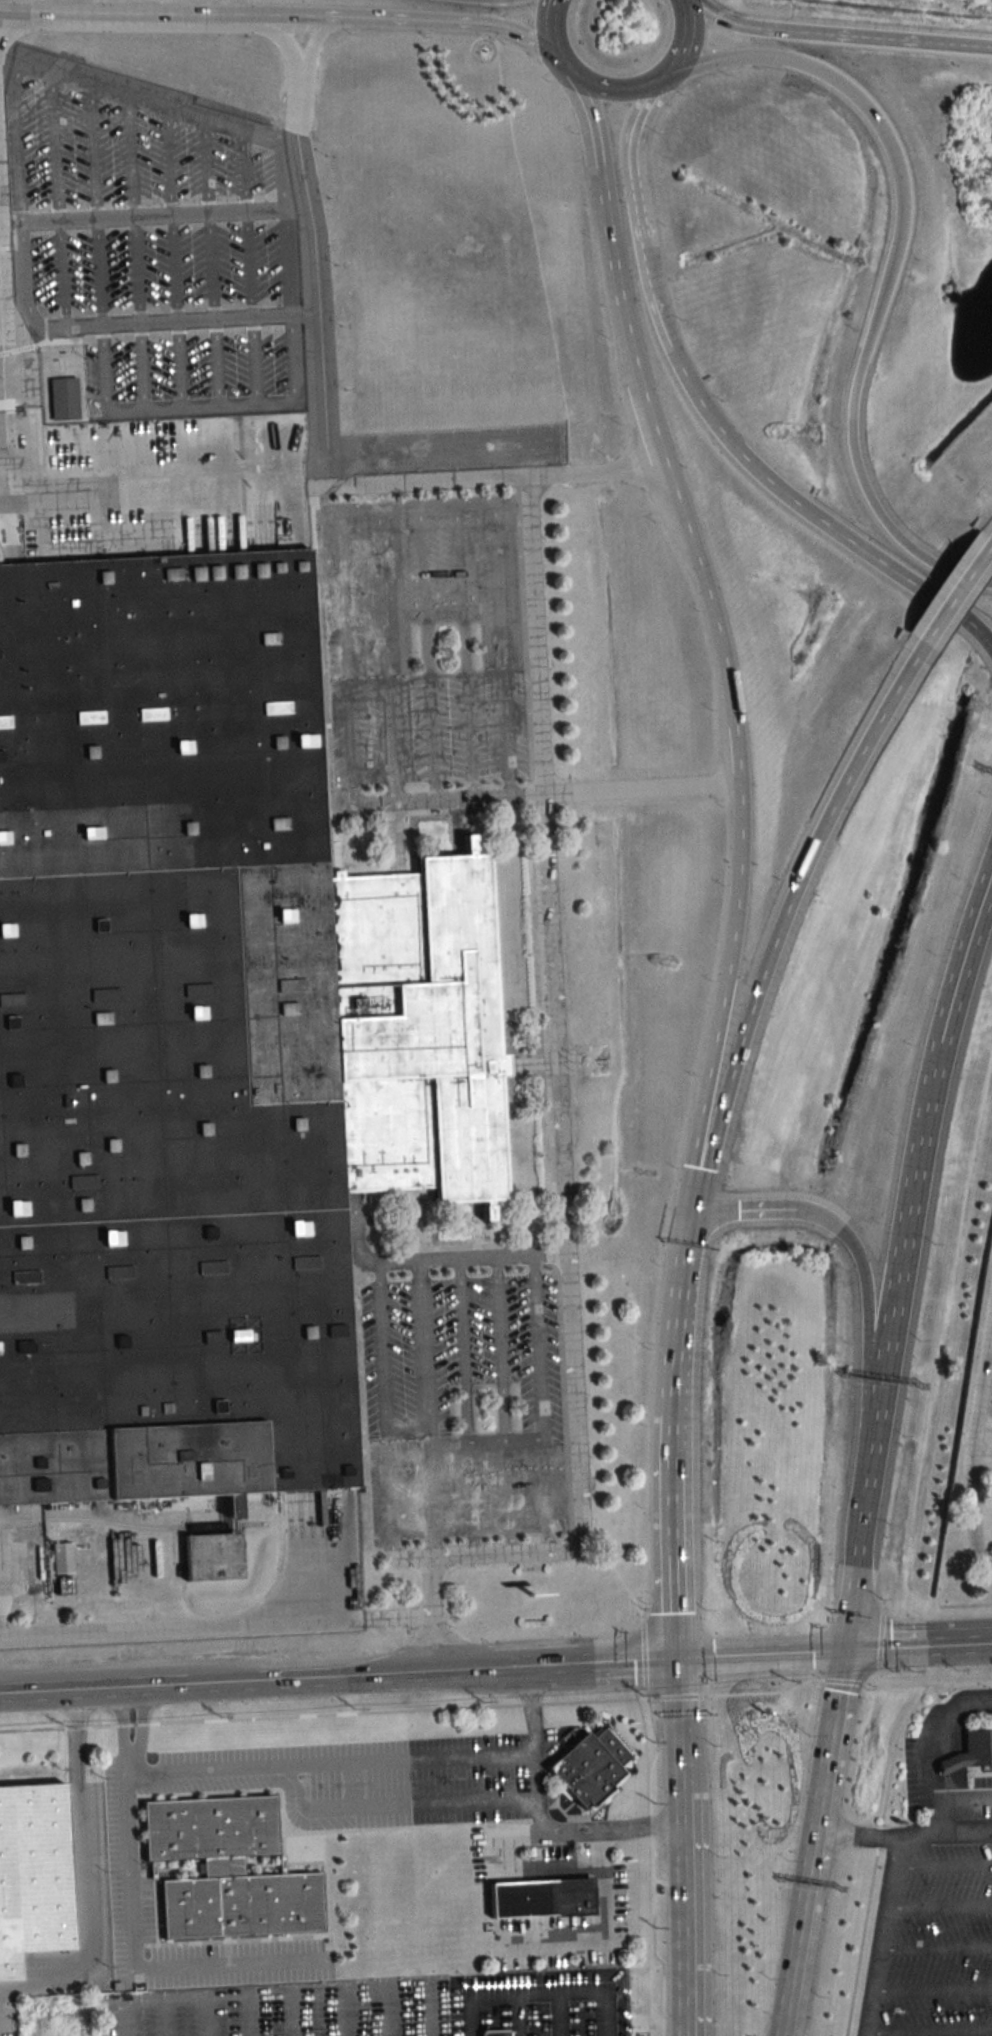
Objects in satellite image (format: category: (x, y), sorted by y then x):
road: (500, 14)
road: (284, 16)
road: (839, 32)
road: (555, 39)
road: (679, 43)
road: (720, 56)
road: (612, 87)
road: (631, 160)
road: (608, 227)
road: (306, 253)
road: (658, 311)
road: (873, 322)
building: (64, 399)
road: (647, 426)
road: (481, 479)
road: (1, 483)
road: (152, 500)
road: (368, 506)
road: (827, 522)
road: (990, 536)
road: (948, 594)
road: (705, 595)
road: (388, 653)
road: (346, 656)
road: (737, 757)
road: (447, 798)
road: (776, 926)
road: (721, 1004)
building: (203, 1034)
road: (929, 1104)
road: (556, 1143)
road: (767, 1207)
traffic signals: (693, 1220)
road: (689, 1238)
road: (510, 1255)
road: (868, 1278)
road: (537, 1346)
road: (499, 1347)
road: (463, 1349)
road: (988, 1354)
road: (674, 1357)
road: (523, 1438)
road: (484, 1439)
road: (971, 1443)
road: (873, 1449)
road: (981, 1453)
road: (670, 1484)
railway: (130, 1526)
road: (988, 1572)
road: (672, 1581)
road: (882, 1605)
road: (848, 1606)
road: (642, 1615)
road: (214, 1628)
road: (879, 1638)
road: (917, 1644)
traffic signals: (842, 1647)
road: (758, 1651)
road: (642, 1654)
traffic signals: (674, 1655)
road: (611, 1658)
road: (489, 1668)
road: (876, 1674)
road: (675, 1679)
road: (841, 1679)
road: (306, 1682)
road: (925, 1683)
road: (761, 1690)
road: (91, 1692)
road: (644, 1693)
road: (676, 1695)
road: (653, 1697)
road: (927, 1739)
building: (972, 1752)
road: (377, 1761)
building: (589, 1766)
road: (649, 1806)
road: (940, 1806)
road: (571, 1831)
road: (853, 1833)
road: (943, 1833)
road: (810, 1841)
road: (874, 1855)
road: (943, 1861)
road: (680, 1865)
road: (83, 1869)
building: (230, 1870)
building: (34, 1874)
road: (659, 1881)
road: (673, 1881)
building: (542, 1899)
road: (940, 1902)
road: (132, 1912)
road: (882, 1936)
road: (603, 1937)
road: (936, 1946)
road: (933, 1984)
road: (538, 1985)
road: (253, 1989)
road: (430, 2008)
road: (606, 2009)
road: (337, 2010)
road: (380, 2010)
road: (560, 2010)
road: (519, 2011)
road: (293, 2012)
road: (472, 2012)
road: (248, 2013)
road: (206, 2014)
road: (164, 2015)
road: (930, 2027)
building: (495, 2031)
road: (682, 2031)
road: (685, 2031)

